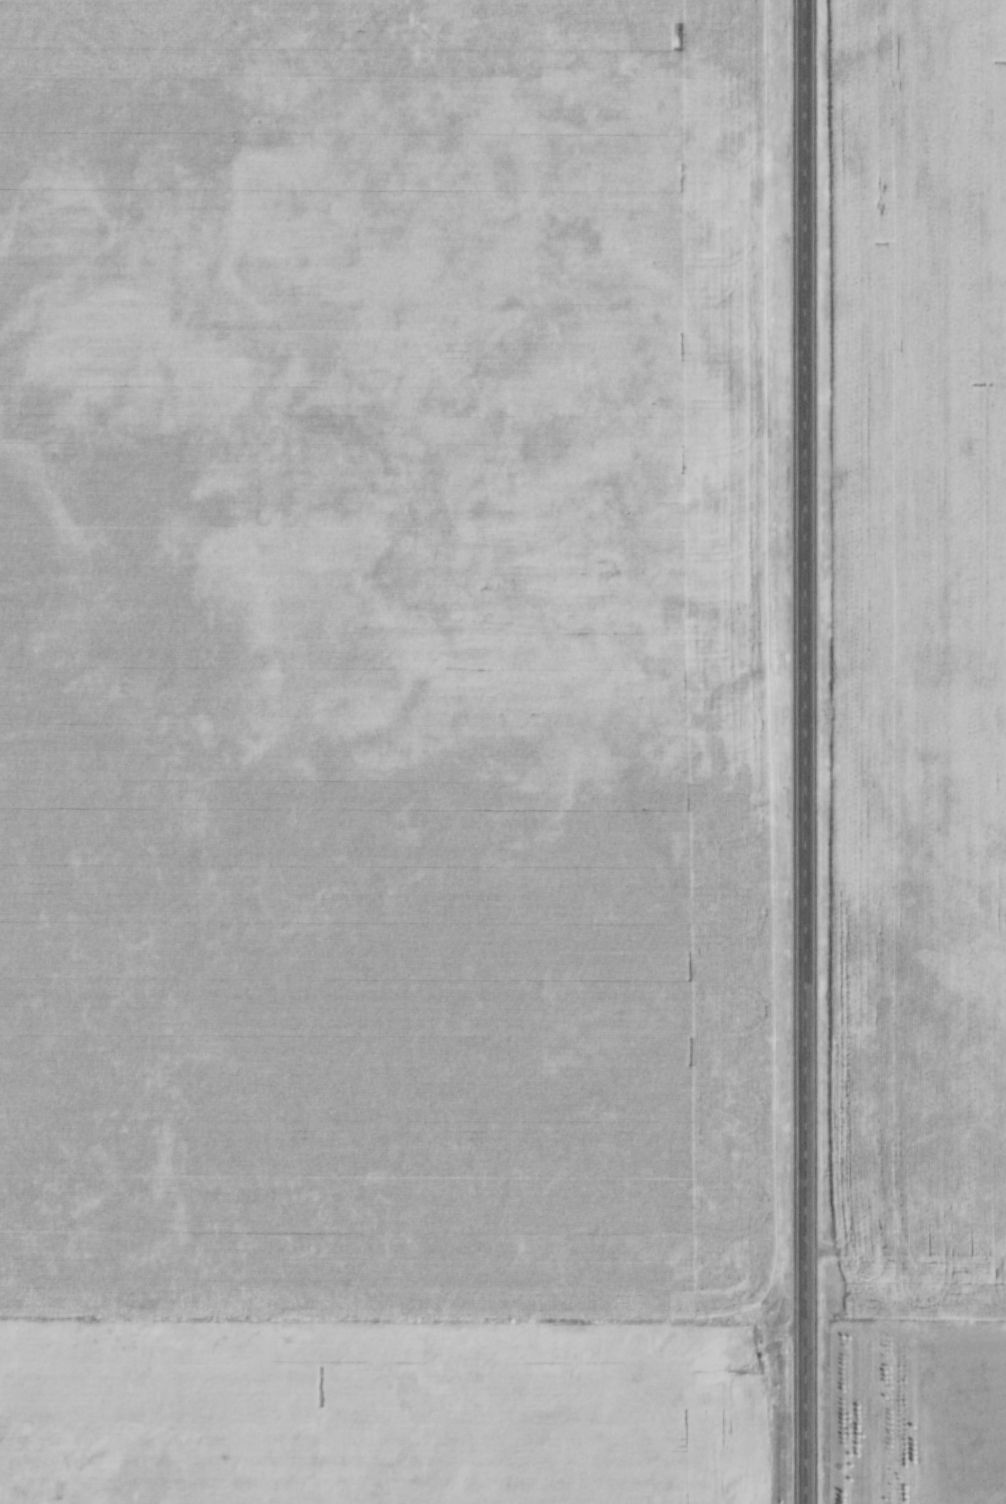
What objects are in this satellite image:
road: (815, 752)

